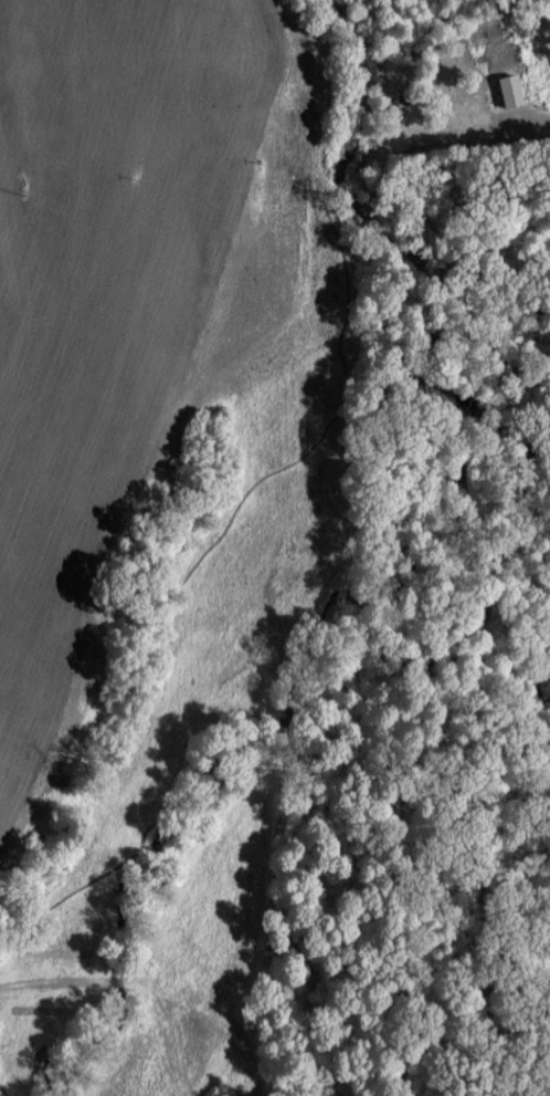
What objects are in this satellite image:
building: (512, 88)

